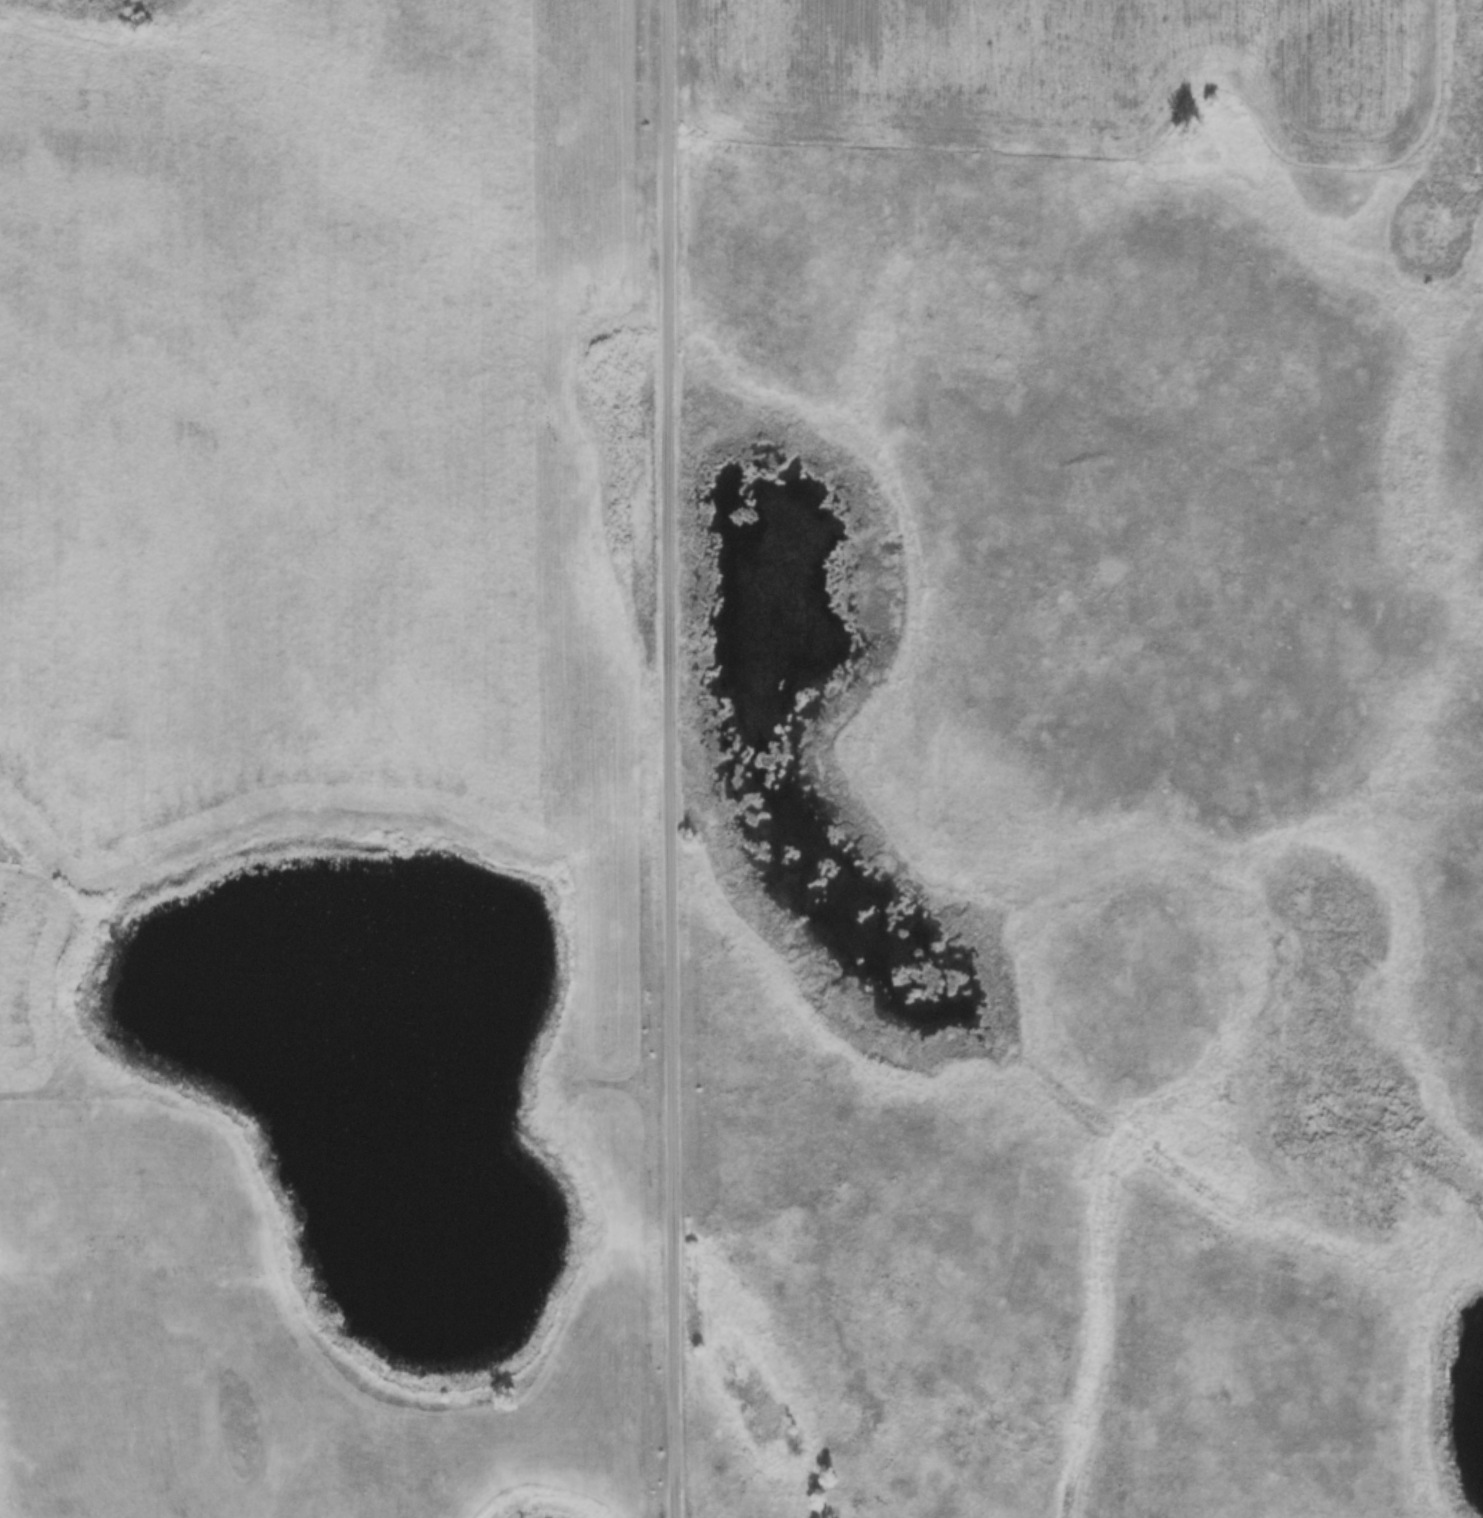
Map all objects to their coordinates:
road: (669, 758)
river: (1378, 1177)

